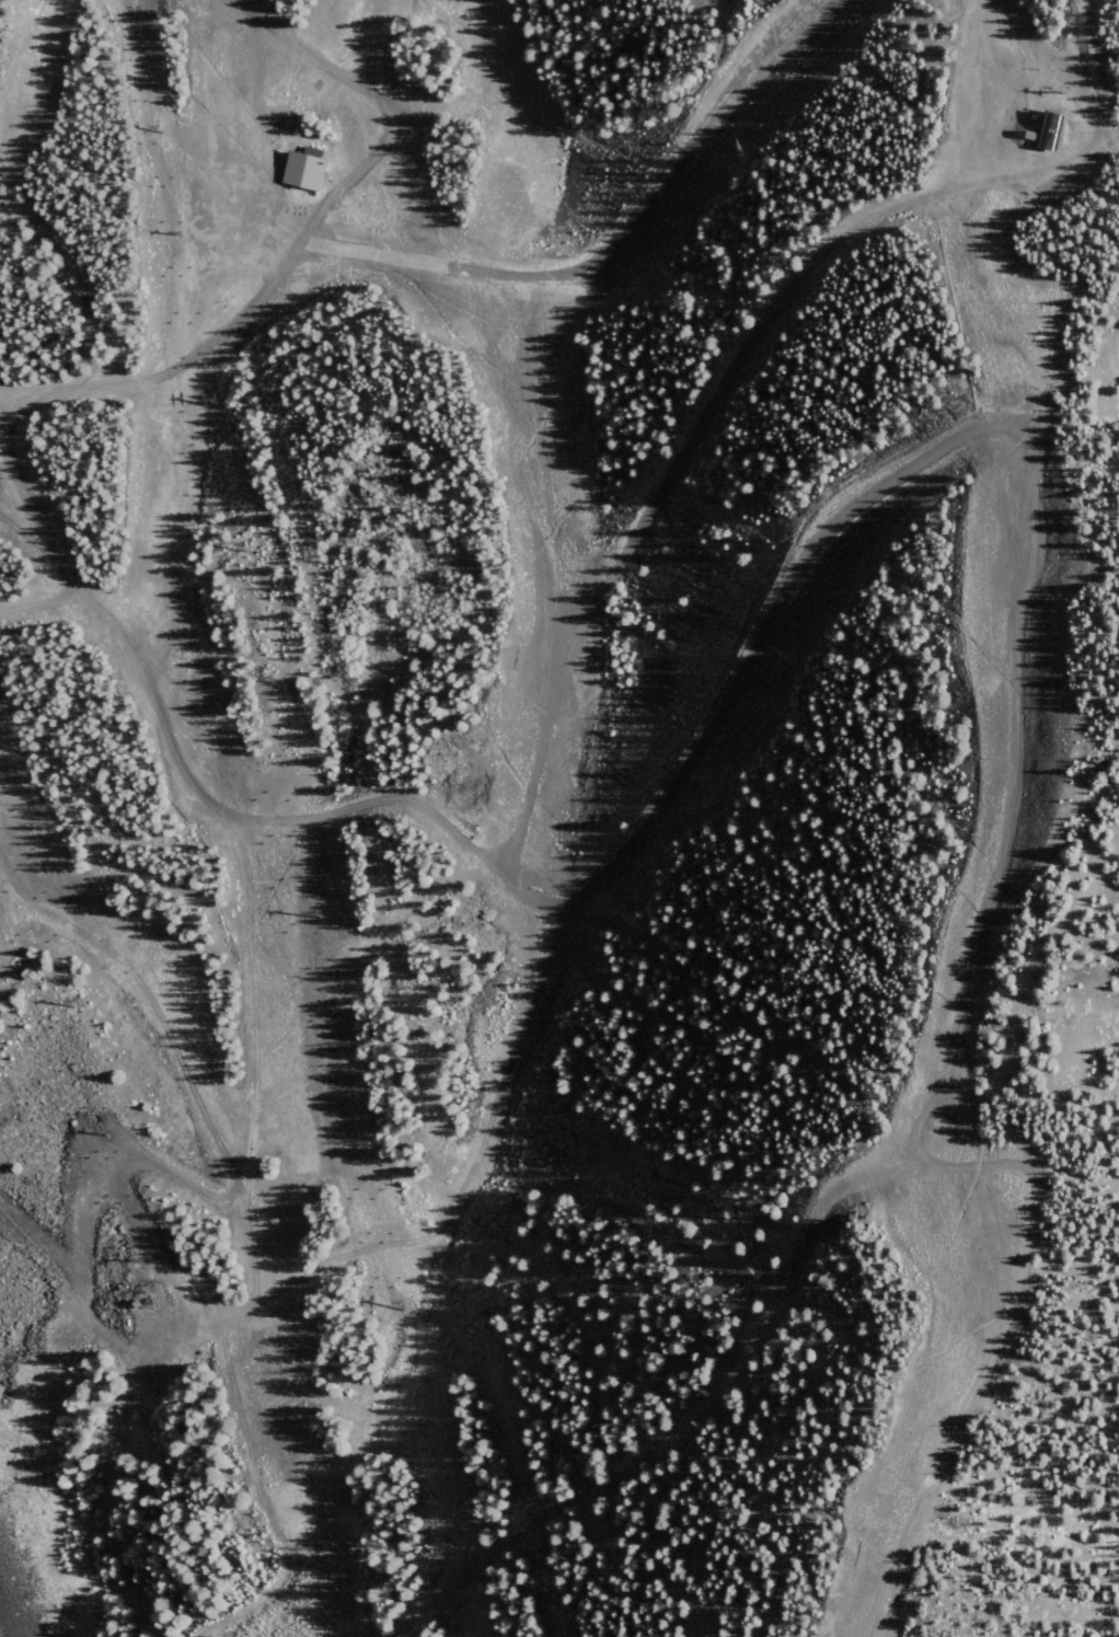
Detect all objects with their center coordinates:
aerialway pylon: (150, 77)
aerialway pylon: (1069, 89)
aerialway pylon: (161, 129)
building: (1059, 129)
road: (1110, 155)
road: (1097, 162)
building: (304, 173)
aerialway pylon: (182, 231)
road: (413, 251)
road: (159, 373)
road: (726, 385)
aerialway pylon: (217, 399)
aerialway pylon: (246, 546)
road: (759, 644)
aerialway pylon: (274, 679)
road: (545, 731)
road: (195, 782)
ski resort: (559, 818)
aerialway pylon: (323, 915)
aerialway pylon: (64, 998)
road: (946, 1085)
aerialway pylon: (99, 1131)
aerialway pylon: (373, 1158)
road: (428, 1194)
aerialway pylon: (134, 1261)
road: (600, 1272)
road: (761, 1304)
aerialway pylon: (404, 1307)
road: (529, 1352)
road: (671, 1423)
road: (265, 1511)
aerialway pylon: (452, 1545)

